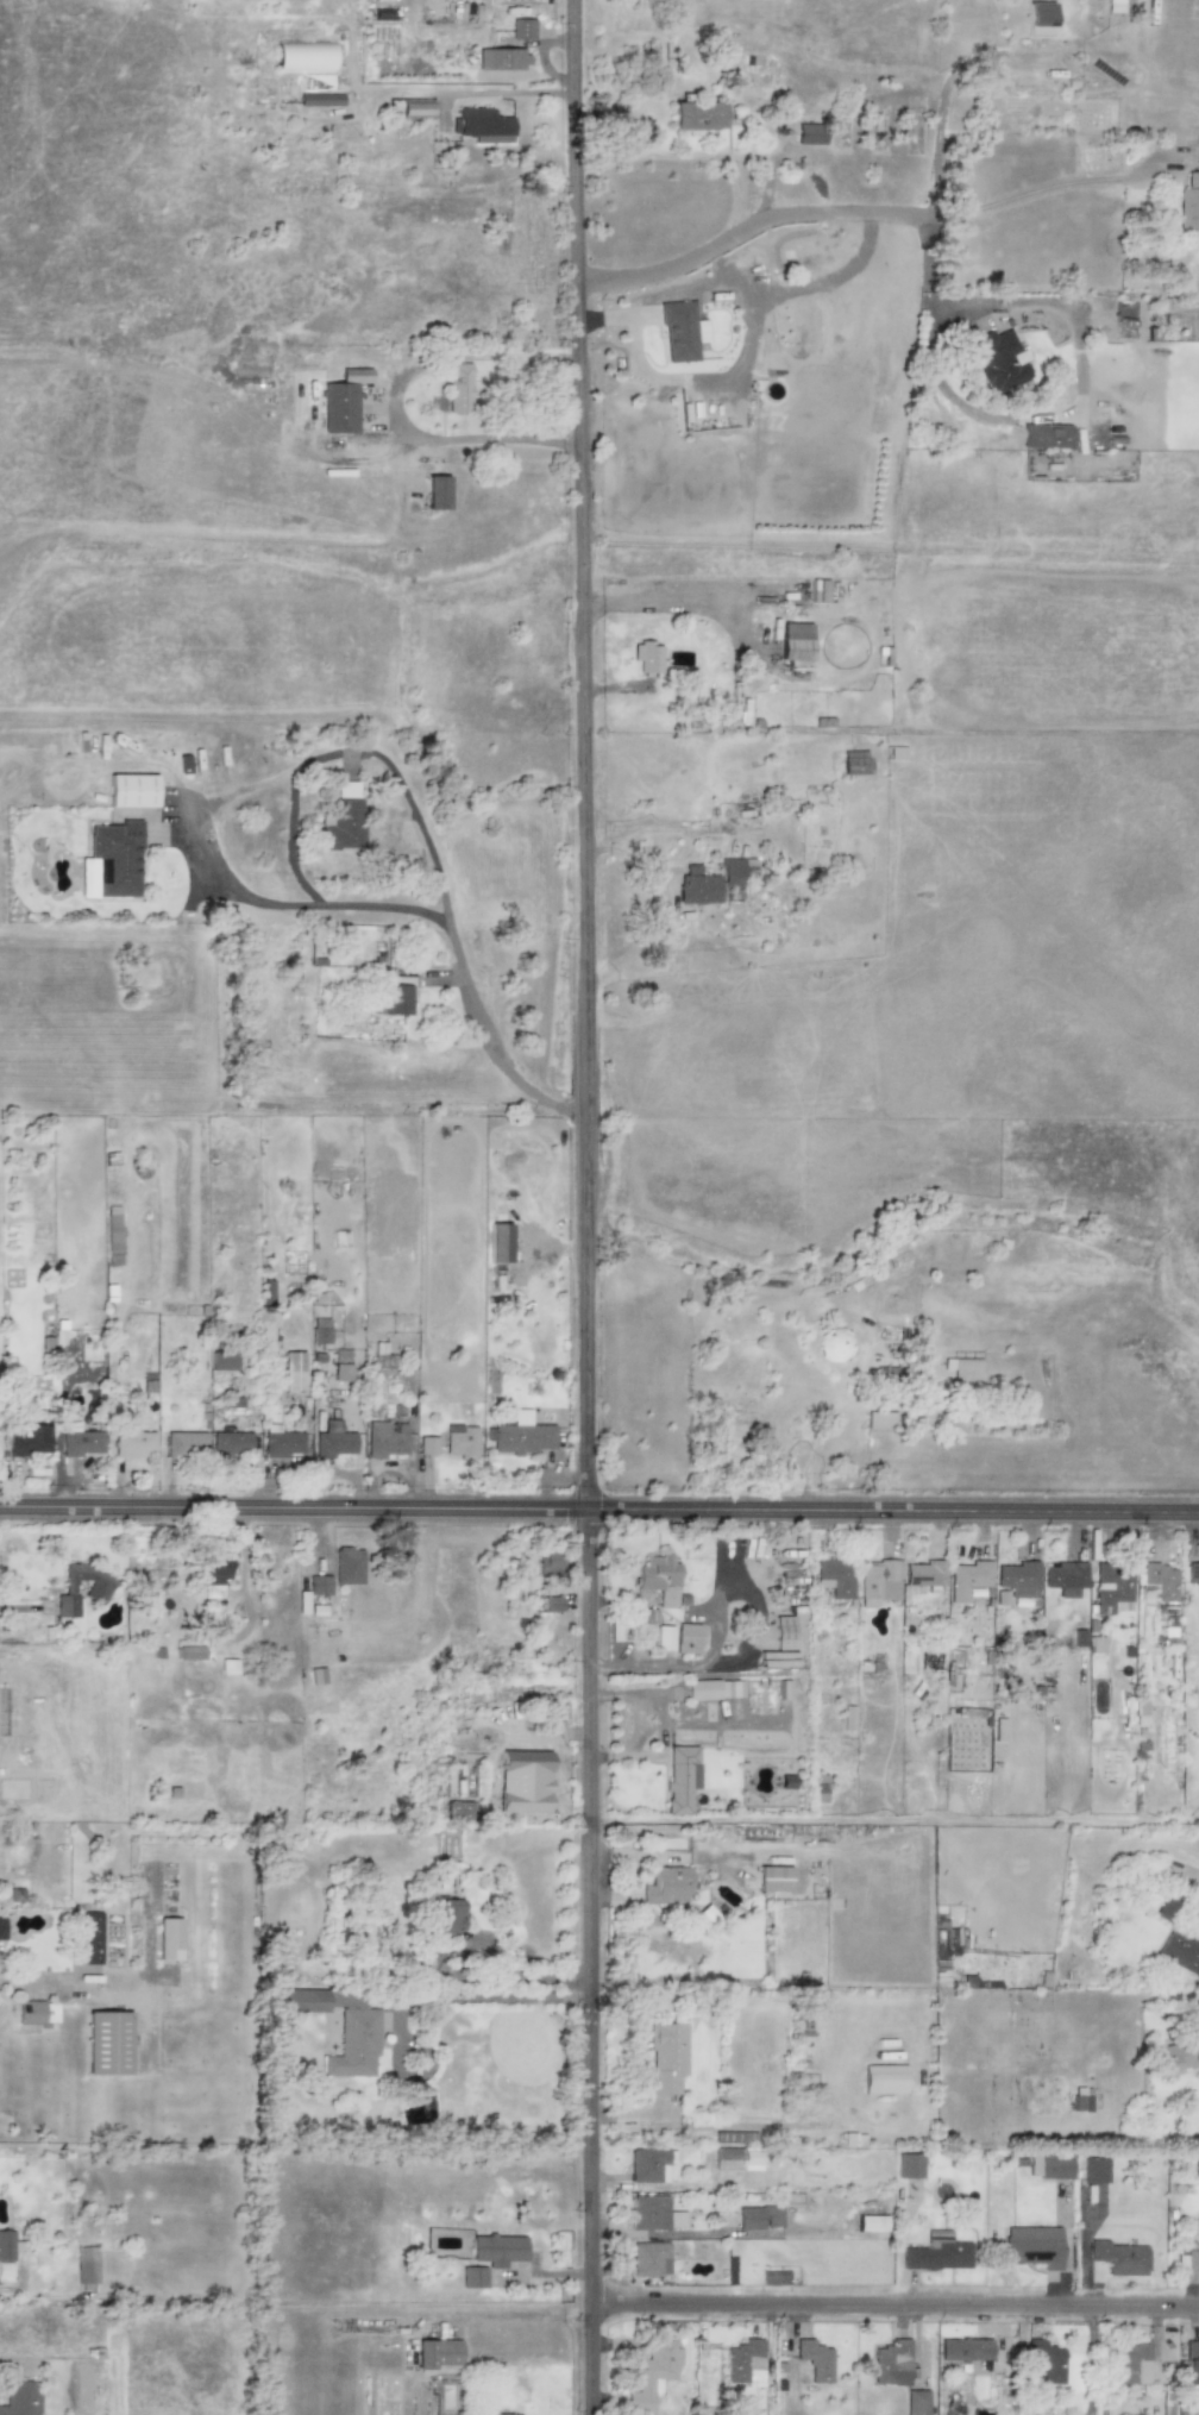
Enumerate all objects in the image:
building: (1038, 19)
building: (521, 29)
building: (303, 57)
building: (501, 58)
road: (496, 93)
building: (320, 100)
road: (943, 106)
building: (414, 108)
building: (696, 115)
building: (483, 125)
building: (809, 133)
building: (1197, 150)
road: (704, 155)
road: (1034, 188)
building: (1188, 205)
road: (747, 233)
building: (680, 330)
building: (999, 360)
building: (458, 388)
building: (338, 407)
road: (1037, 415)
building: (1044, 435)
road: (445, 439)
road: (360, 462)
building: (435, 493)
road: (677, 597)
building: (795, 644)
building: (647, 657)
building: (854, 763)
building: (131, 791)
building: (344, 820)
building: (111, 861)
building: (713, 880)
road: (236, 889)
building: (394, 998)
road: (590, 1206)
building: (112, 1232)
building: (320, 1331)
building: (341, 1356)
building: (381, 1356)
building: (221, 1360)
building: (293, 1370)
building: (963, 1372)
building: (340, 1373)
building: (880, 1419)
building: (521, 1435)
building: (385, 1439)
building: (29, 1441)
building: (80, 1441)
building: (333, 1441)
building: (459, 1441)
building: (281, 1442)
building: (133, 1443)
building: (231, 1443)
building: (184, 1444)
building: (427, 1445)
road: (599, 1514)
building: (551, 1564)
building: (347, 1566)
building: (924, 1573)
building: (1193, 1573)
building: (214, 1574)
building: (835, 1577)
building: (969, 1577)
building: (1019, 1577)
building: (1065, 1577)
building: (660, 1579)
building: (1161, 1580)
building: (878, 1582)
building: (1111, 1587)
building: (98, 1589)
building: (318, 1594)
building: (552, 1605)
road: (19, 1606)
building: (784, 1633)
building: (664, 1638)
building: (688, 1639)
building: (1096, 1644)
building: (189, 1652)
building: (708, 1689)
building: (998, 1730)
building: (680, 1779)
building: (525, 1781)
building: (460, 1809)
building: (773, 1878)
building: (667, 1886)
building: (448, 1915)
building: (1, 1928)
building: (89, 1938)
building: (168, 1939)
building: (1181, 1951)
road: (44, 1987)
road: (472, 1997)
building: (302, 2001)
building: (36, 2013)
building: (107, 2043)
building: (354, 2044)
building: (1179, 2055)
building: (666, 2058)
building: (884, 2078)
building: (1081, 2101)
building: (746, 2158)
building: (649, 2165)
building: (909, 2166)
building: (1054, 2166)
building: (1094, 2170)
building: (649, 2212)
building: (759, 2218)
building: (871, 2223)
building: (6, 2245)
building: (1032, 2246)
building: (496, 2250)
building: (936, 2253)
building: (649, 2258)
building: (1119, 2258)
building: (1187, 2262)
building: (86, 2265)
building: (473, 2278)
road: (894, 2307)
road: (513, 2314)
building: (963, 2350)
building: (437, 2353)
building: (815, 2360)
building: (1046, 2360)
building: (743, 2363)
building: (891, 2363)
building: (1130, 2363)
building: (1191, 2363)
building: (651, 2376)
building: (19, 2397)
building: (916, 2402)
building: (500, 2414)

